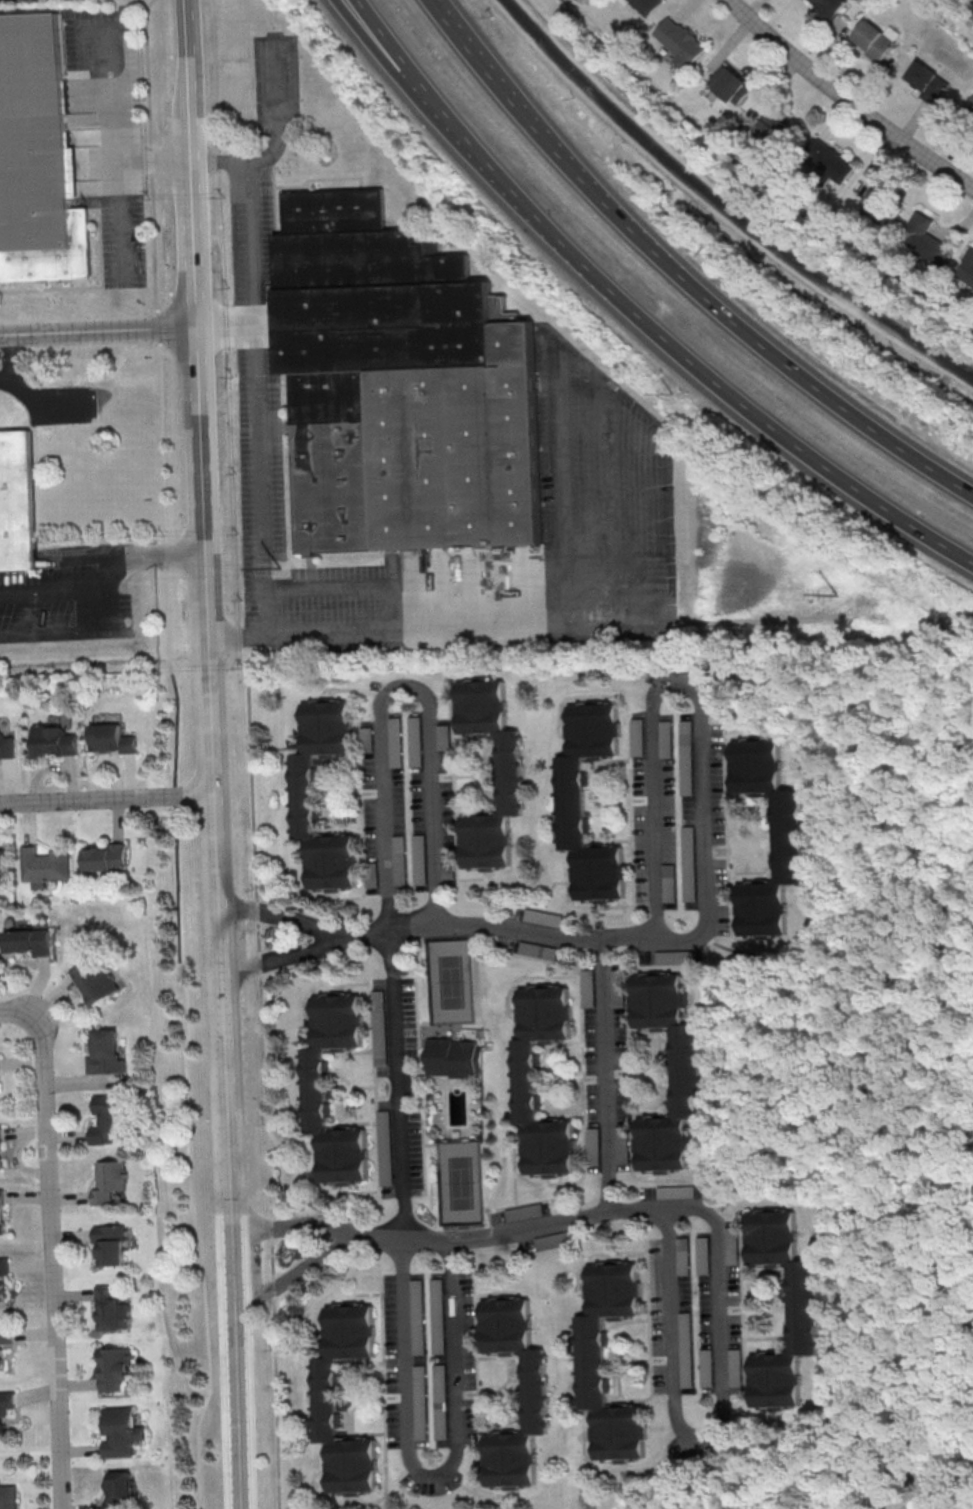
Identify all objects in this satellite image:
building: (642, 6)
building: (971, 6)
building: (826, 9)
building: (875, 39)
building: (678, 41)
road: (393, 65)
building: (927, 82)
building: (729, 83)
road: (848, 99)
road: (542, 136)
building: (39, 155)
building: (828, 159)
building: (882, 203)
road: (725, 204)
building: (926, 240)
building: (966, 267)
road: (639, 312)
road: (224, 324)
road: (97, 328)
road: (10, 356)
road: (811, 387)
building: (405, 388)
road: (254, 397)
road: (36, 404)
building: (18, 502)
road: (110, 557)
power tower: (284, 568)
road: (345, 585)
road: (45, 591)
power tower: (830, 596)
road: (397, 629)
road: (47, 634)
road: (403, 688)
road: (698, 695)
building: (686, 735)
building: (111, 737)
building: (638, 737)
building: (54, 739)
building: (666, 739)
building: (6, 744)
road: (175, 754)
road: (211, 754)
building: (510, 774)
building: (304, 794)
road: (106, 798)
building: (571, 802)
building: (788, 838)
building: (107, 856)
building: (3, 861)
building: (46, 863)
building: (669, 882)
road: (918, 901)
building: (544, 917)
road: (288, 918)
road: (372, 928)
road: (521, 928)
building: (30, 941)
building: (538, 950)
road: (289, 954)
building: (96, 980)
park: (452, 984)
building: (588, 987)
building: (617, 990)
road: (16, 1011)
building: (107, 1053)
building: (454, 1058)
road: (263, 1071)
building: (683, 1073)
road: (605, 1075)
building: (522, 1080)
building: (314, 1089)
building: (110, 1119)
building: (622, 1144)
building: (593, 1146)
building: (1, 1147)
building: (110, 1182)
park: (461, 1185)
road: (874, 1188)
building: (2, 1211)
building: (524, 1211)
road: (662, 1212)
road: (292, 1225)
road: (478, 1235)
building: (111, 1242)
road: (51, 1262)
building: (3, 1272)
road: (292, 1273)
building: (113, 1308)
building: (803, 1310)
road: (401, 1331)
building: (5, 1334)
road: (914, 1335)
building: (591, 1360)
building: (0, 1363)
building: (115, 1367)
building: (707, 1367)
building: (737, 1367)
building: (532, 1393)
building: (325, 1398)
road: (850, 1411)
building: (2, 1423)
building: (121, 1430)
road: (697, 1439)
building: (121, 1490)
building: (8, 1497)

